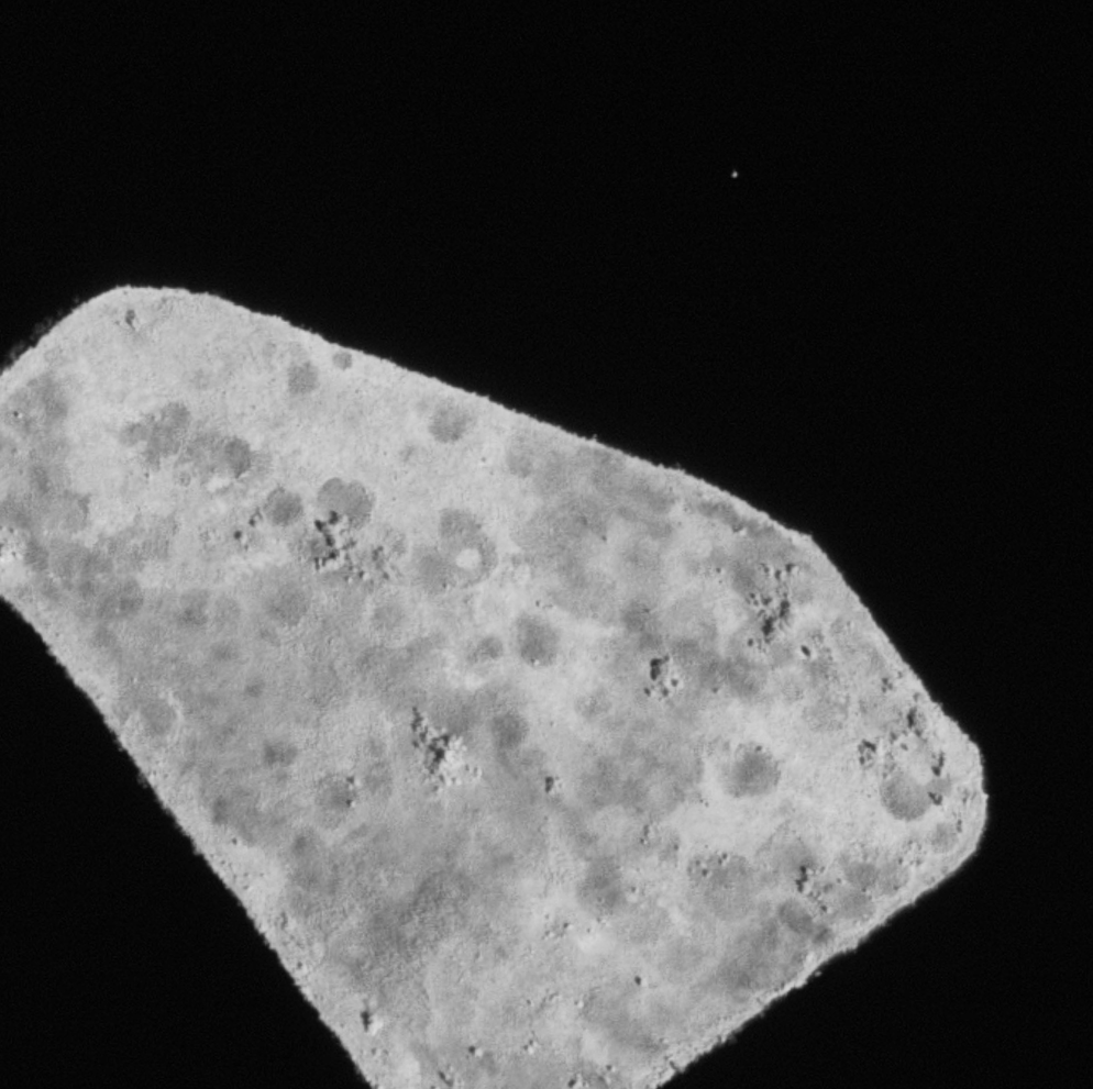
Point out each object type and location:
river: (1053, 15)

